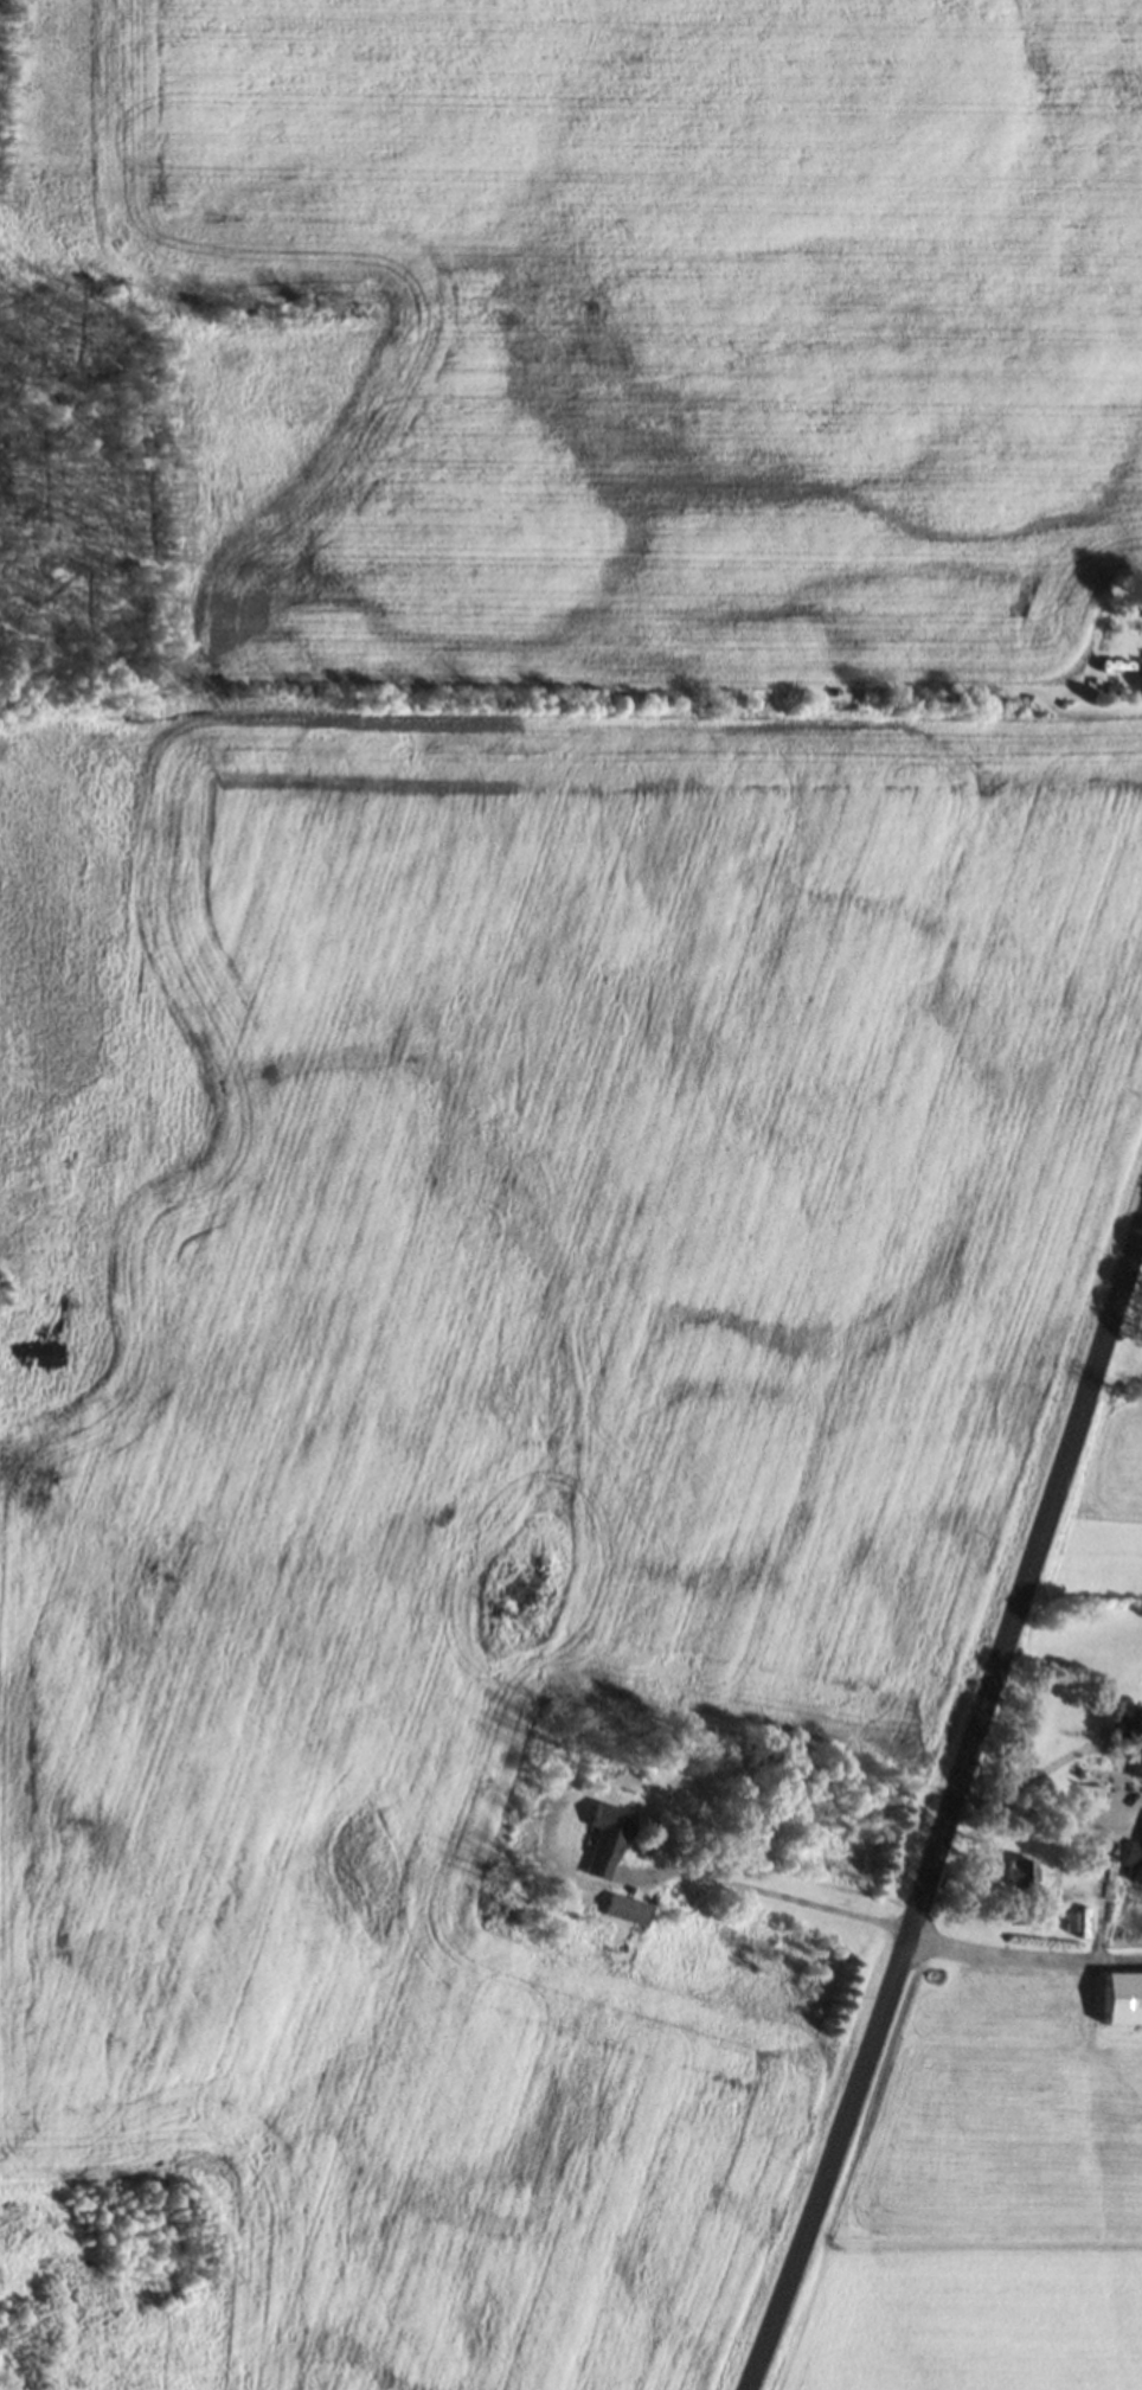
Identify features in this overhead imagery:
building: (1140, 610)
building: (1137, 1755)
building: (694, 1794)
road: (947, 1807)
road: (1046, 1814)
building: (1136, 1869)
building: (1015, 1872)
building: (621, 1909)
building: (1073, 1922)
road: (1021, 1956)
building: (1119, 1998)

